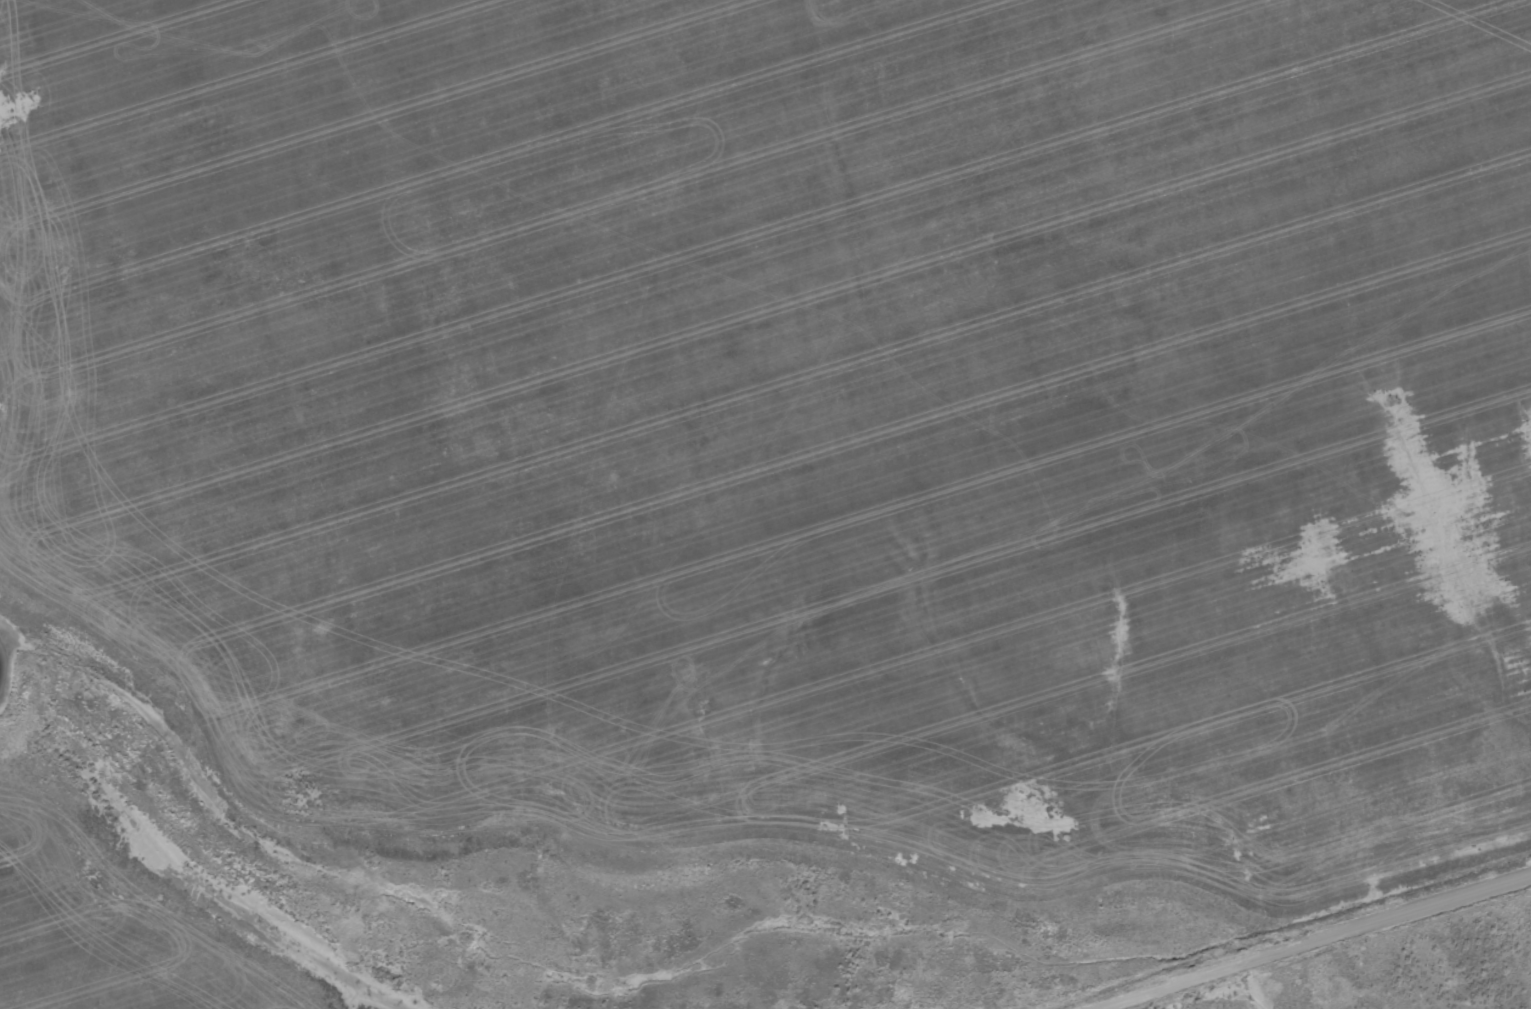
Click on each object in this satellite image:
road: (1306, 940)

